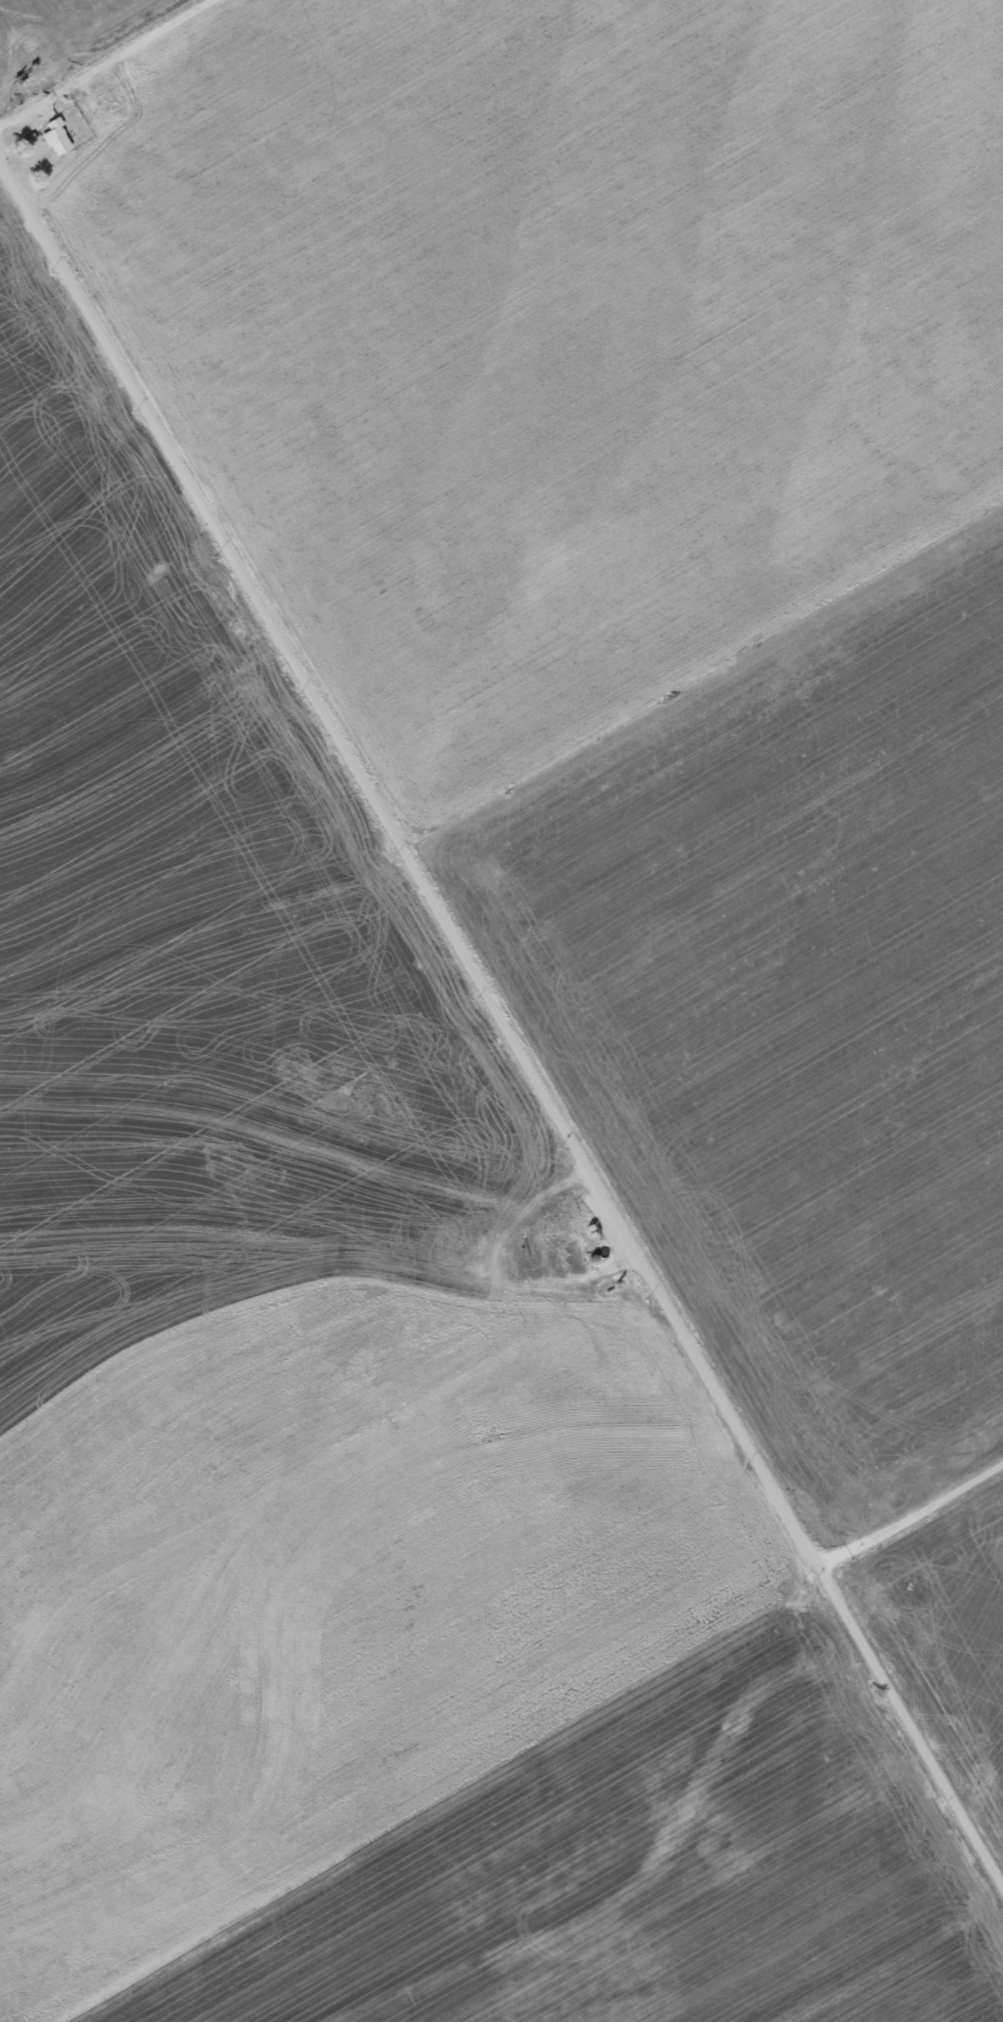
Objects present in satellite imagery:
road: (105, 61)
road: (411, 861)
road: (299, 1337)
road: (236, 1527)
road: (912, 1723)

